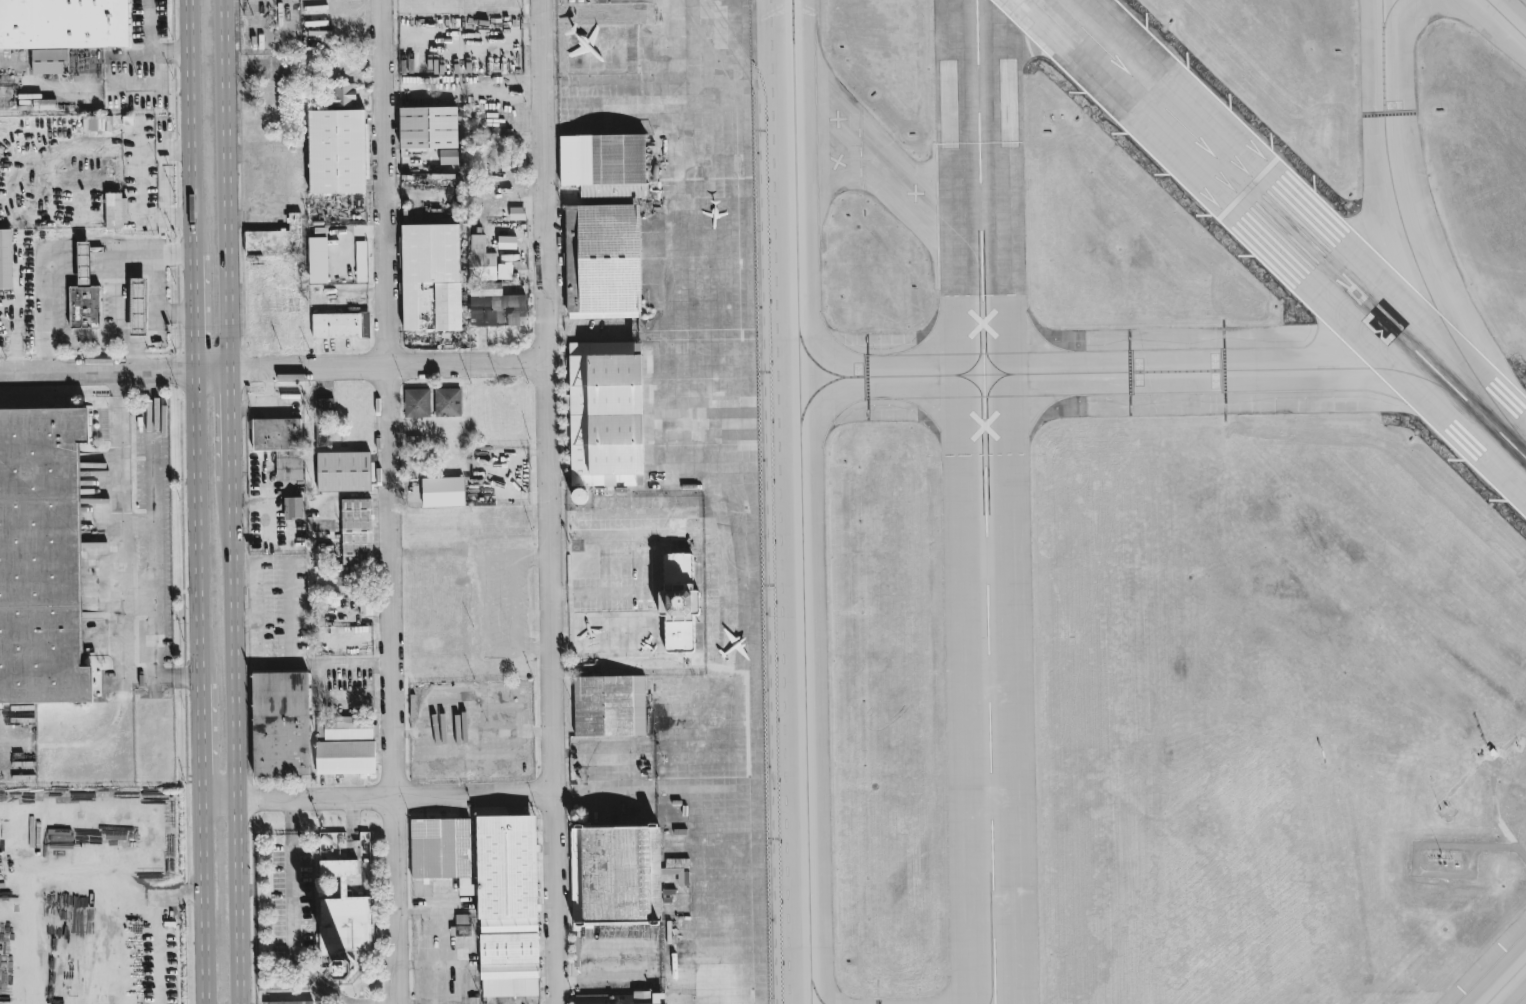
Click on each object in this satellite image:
airport taxiway: (1387, 13)
airport taxiway: (1507, 18)
building: (65, 21)
road: (151, 46)
building: (52, 62)
building: (1006, 92)
airport runway: (1147, 93)
building: (342, 95)
building: (96, 122)
road: (191, 127)
building: (431, 130)
airport taxiway: (865, 144)
building: (337, 151)
airport taxiway: (1387, 158)
building: (608, 164)
road: (228, 184)
building: (115, 210)
building: (517, 212)
building: (276, 239)
building: (507, 241)
road: (63, 243)
building: (5, 258)
building: (318, 259)
building: (481, 259)
building: (609, 260)
building: (361, 261)
building: (504, 270)
building: (431, 277)
building: (84, 294)
road: (118, 294)
building: (138, 305)
building: (495, 306)
road: (195, 312)
road: (157, 319)
airport runway: (1385, 322)
building: (341, 325)
road: (92, 342)
road: (400, 365)
road: (128, 370)
airport taxiway: (1128, 372)
building: (417, 402)
building: (447, 402)
building: (324, 407)
building: (616, 410)
road: (230, 423)
building: (280, 444)
building: (343, 471)
building: (443, 491)
airport apron: (726, 495)
building: (579, 496)
airport: (1043, 500)
airport taxiway: (802, 501)
airport runway: (985, 501)
road: (389, 502)
road: (544, 502)
building: (293, 507)
road: (199, 527)
building: (356, 531)
road: (121, 548)
building: (42, 554)
road: (619, 560)
road: (160, 573)
building: (344, 577)
road: (625, 594)
airport terminal: (682, 601)
building: (682, 601)
road: (342, 662)
building: (614, 704)
building: (280, 723)
road: (235, 741)
road: (202, 743)
building: (346, 745)
road: (130, 782)
road: (405, 795)
road: (233, 800)
building: (333, 853)
road: (289, 864)
building: (338, 866)
building: (619, 875)
building: (490, 891)
road: (204, 902)
building: (462, 924)
building: (345, 931)
road: (652, 959)
airport taxiway: (1505, 982)
building: (629, 999)
building: (291, 1002)

